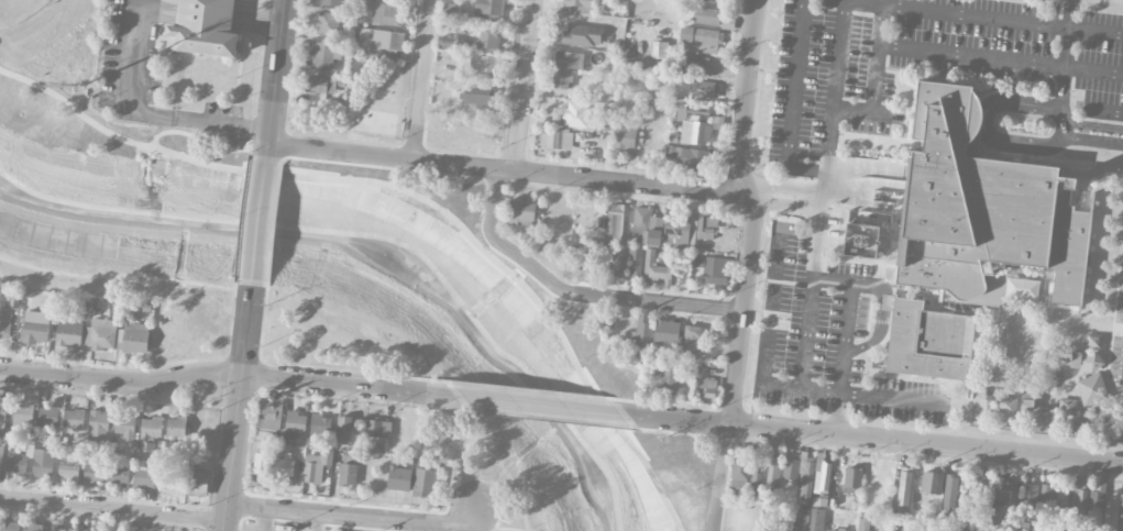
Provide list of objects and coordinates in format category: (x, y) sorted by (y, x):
building: (331, 2)
building: (579, 4)
building: (489, 7)
building: (389, 12)
road: (950, 13)
road: (1054, 13)
road: (1068, 14)
building: (706, 15)
building: (328, 24)
building: (205, 29)
building: (582, 35)
building: (487, 37)
building: (698, 41)
building: (381, 42)
road: (1066, 49)
road: (878, 51)
road: (423, 54)
building: (324, 55)
building: (568, 59)
building: (485, 65)
road: (129, 75)
building: (562, 79)
road: (276, 80)
building: (318, 85)
road: (524, 85)
building: (704, 89)
building: (477, 95)
road: (748, 96)
road: (792, 102)
road: (1107, 111)
building: (575, 113)
building: (717, 122)
road: (986, 122)
road: (221, 123)
road: (1092, 124)
building: (694, 125)
road: (415, 134)
building: (625, 137)
building: (555, 139)
road: (1091, 140)
building: (689, 156)
road: (362, 164)
road: (503, 169)
road: (783, 186)
road: (414, 187)
road: (780, 202)
building: (983, 207)
building: (521, 213)
road: (492, 218)
road: (260, 221)
building: (614, 225)
building: (646, 225)
building: (706, 226)
building: (680, 232)
building: (861, 240)
road: (503, 245)
building: (636, 261)
building: (618, 264)
building: (656, 268)
building: (716, 270)
road: (124, 275)
building: (1022, 288)
park: (334, 291)
road: (658, 301)
road: (744, 305)
building: (4, 324)
building: (35, 328)
building: (69, 330)
building: (668, 331)
building: (100, 334)
building: (643, 334)
building: (135, 339)
building: (928, 340)
building: (1093, 340)
building: (691, 341)
building: (1075, 358)
road: (804, 362)
road: (227, 373)
building: (668, 377)
building: (1092, 380)
building: (706, 387)
building: (1008, 405)
road: (238, 406)
building: (1068, 406)
road: (550, 407)
building: (25, 411)
building: (269, 413)
road: (836, 413)
building: (2, 416)
building: (48, 417)
building: (1048, 417)
building: (1107, 418)
building: (74, 419)
building: (296, 423)
building: (320, 425)
building: (1081, 425)
building: (125, 427)
building: (99, 428)
building: (176, 428)
building: (378, 429)
building: (343, 430)
building: (150, 433)
road: (883, 440)
building: (1, 458)
road: (481, 458)
building: (43, 463)
building: (16, 464)
building: (262, 464)
building: (68, 466)
building: (316, 466)
building: (740, 466)
building: (285, 468)
building: (791, 468)
building: (93, 472)
building: (773, 472)
building: (146, 474)
building: (119, 475)
building: (346, 475)
building: (757, 475)
road: (719, 477)
building: (822, 477)
building: (399, 478)
building: (805, 479)
building: (425, 480)
building: (852, 480)
building: (932, 482)
building: (198, 484)
road: (455, 484)
building: (904, 486)
building: (950, 490)
building: (979, 491)
building: (1004, 495)
building: (1079, 496)
building: (1047, 497)
building: (1030, 498)
building: (1061, 506)
road: (112, 510)
building: (1094, 510)
building: (1120, 513)
road: (354, 515)
road: (263, 519)
building: (817, 519)
road: (321, 521)
building: (796, 524)
building: (863, 524)
building: (10, 526)
building: (932, 526)
building: (42, 528)
building: (834, 529)

